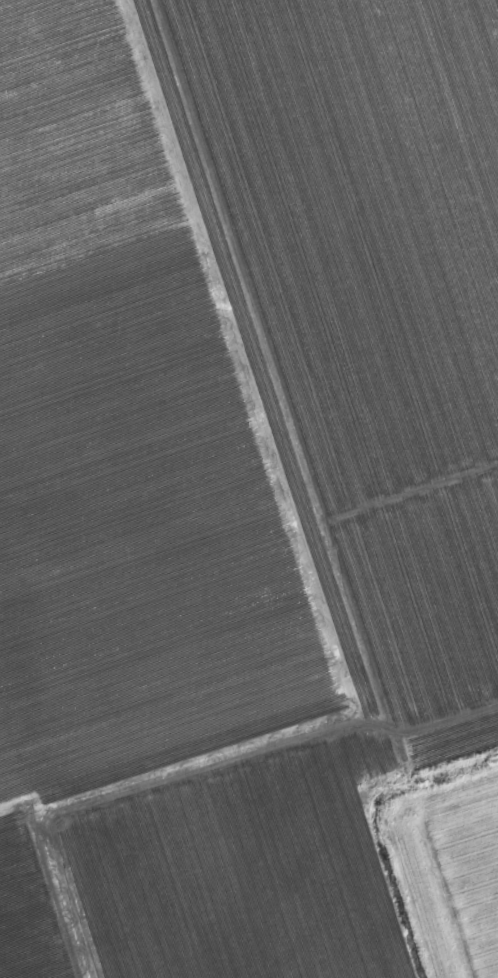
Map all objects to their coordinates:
road: (379, 829)

